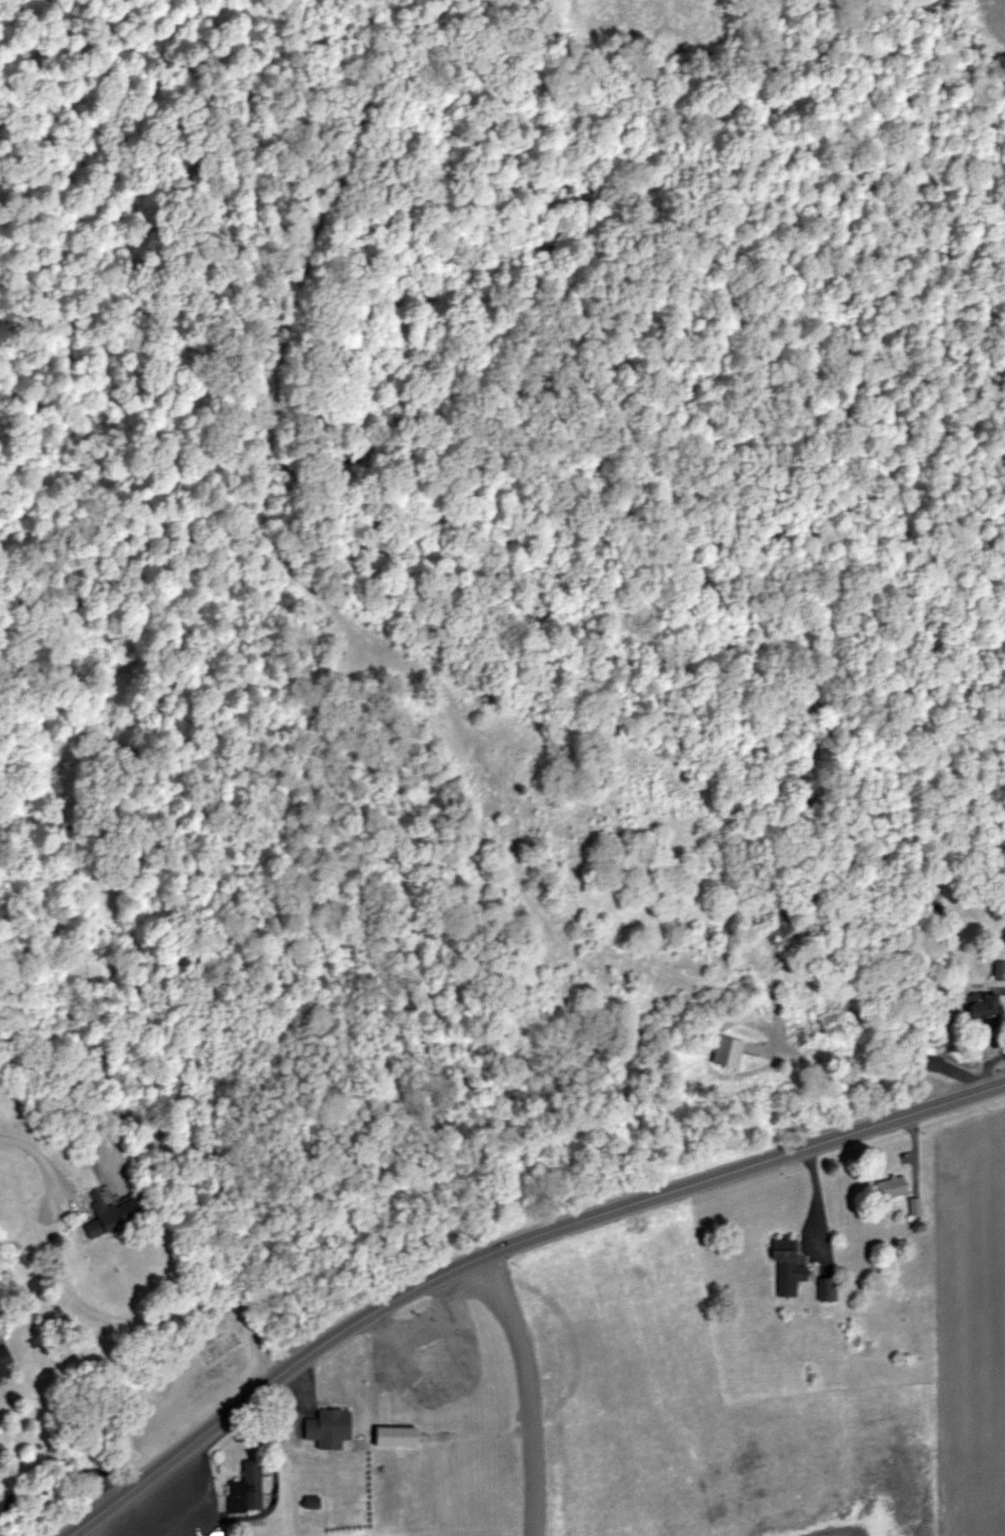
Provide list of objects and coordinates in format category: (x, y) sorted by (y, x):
building: (779, 928)
building: (1001, 971)
road: (976, 1018)
building: (837, 1024)
road: (842, 1064)
road: (80, 1148)
road: (916, 1148)
road: (39, 1165)
building: (895, 1187)
road: (819, 1190)
building: (123, 1219)
road: (500, 1244)
building: (791, 1268)
building: (448, 1350)
building: (6, 1364)
road: (307, 1384)
road: (533, 1387)
building: (333, 1425)
road: (54, 1484)
building: (251, 1489)
road: (114, 1514)
road: (837, 1534)

